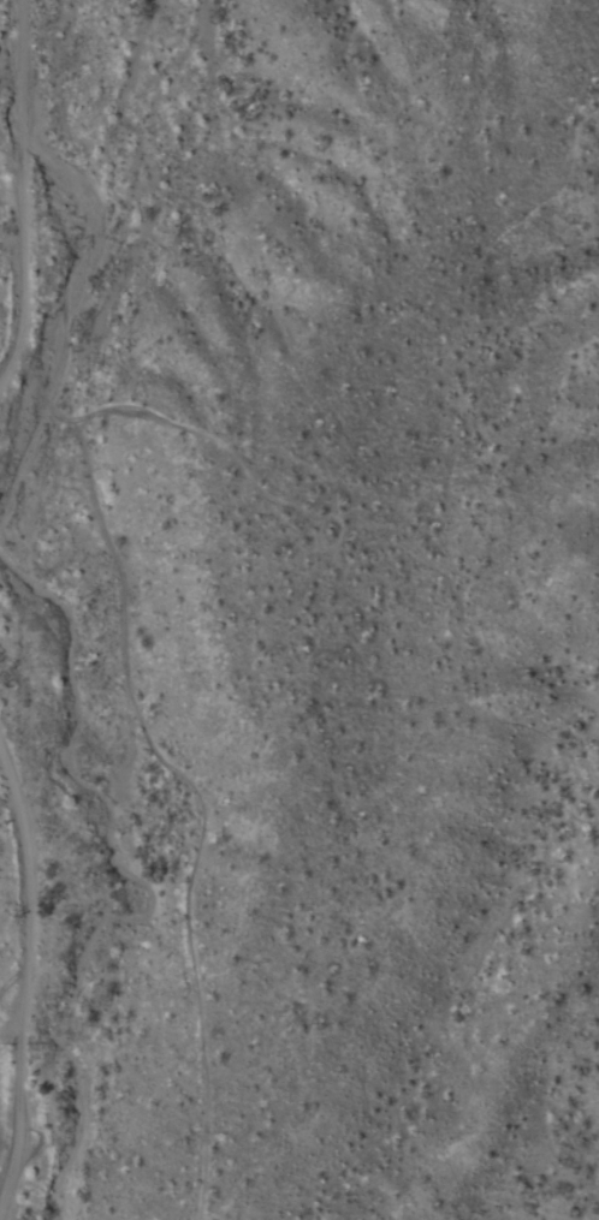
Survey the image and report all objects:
road: (19, 191)
road: (29, 981)

